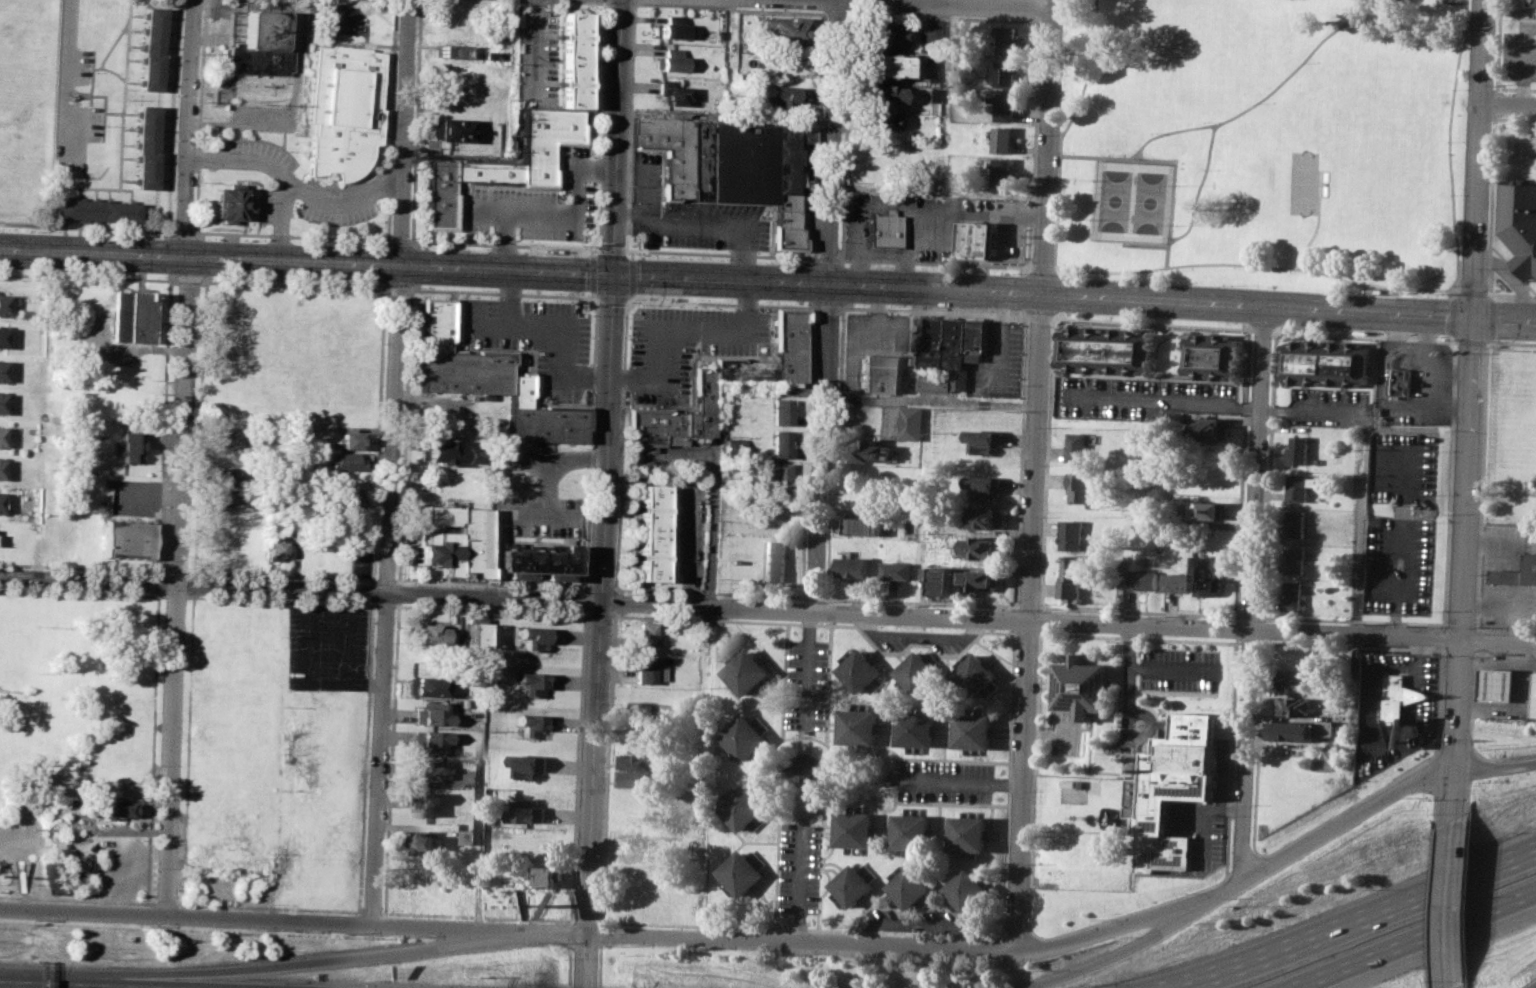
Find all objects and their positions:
road: (945, 0)
road: (608, 1)
road: (634, 1)
road: (975, 1)
road: (607, 2)
road: (621, 2)
road: (1459, 2)
building: (1534, 2)
road: (634, 4)
road: (849, 4)
road: (824, 5)
road: (1040, 8)
road: (1358, 11)
road: (848, 12)
road: (824, 13)
road: (836, 13)
road: (947, 15)
road: (1040, 18)
road: (1471, 25)
building: (672, 27)
building: (928, 30)
building: (785, 31)
road: (632, 33)
building: (885, 36)
building: (1009, 40)
road: (113, 42)
road: (1500, 45)
building: (152, 47)
building: (259, 47)
building: (450, 50)
parking lot: (1521, 52)
parking lot: (537, 57)
building: (671, 60)
road: (1526, 62)
building: (884, 64)
road: (101, 67)
building: (1007, 73)
road: (68, 74)
road: (1514, 88)
building: (671, 91)
building: (883, 94)
building: (932, 94)
building: (781, 95)
road: (1496, 102)
road: (1509, 102)
building: (1007, 106)
building: (343, 110)
parking lot: (74, 111)
road: (200, 115)
road: (172, 117)
road: (1515, 117)
building: (881, 119)
road: (1212, 126)
road: (123, 127)
building: (447, 129)
road: (1062, 131)
building: (523, 132)
building: (1004, 139)
park: (1264, 142)
building: (147, 147)
road: (941, 152)
parking lot: (255, 155)
road: (1480, 159)
building: (729, 165)
building: (1004, 170)
road: (70, 174)
road: (1173, 179)
park: (1307, 182)
road: (291, 188)
road: (643, 191)
road: (994, 192)
road: (602, 202)
park: (1134, 202)
road: (1491, 203)
building: (227, 205)
parking lot: (535, 206)
parking lot: (334, 207)
building: (98, 209)
road: (1454, 211)
parking lot: (687, 214)
road: (387, 217)
road: (278, 222)
road: (1318, 222)
road: (705, 224)
building: (1519, 225)
road: (84, 227)
road: (813, 227)
building: (884, 230)
road: (182, 233)
building: (979, 239)
road: (399, 240)
road: (610, 246)
road: (631, 254)
road: (814, 258)
road: (825, 258)
road: (933, 262)
road: (1042, 267)
road: (592, 268)
road: (1059, 268)
road: (88, 274)
road: (188, 278)
road: (630, 278)
traffic signals: (612, 280)
road: (291, 283)
flagpole: (1504, 283)
road: (737, 285)
road: (394, 288)
road: (1458, 288)
road: (1025, 290)
road: (1452, 291)
road: (1473, 291)
road: (501, 293)
road: (1059, 293)
road: (1511, 294)
road: (1493, 296)
road: (594, 297)
road: (610, 300)
building: (4, 303)
road: (723, 303)
road: (827, 304)
road: (625, 305)
road: (827, 306)
road: (932, 311)
road: (1026, 312)
road: (1056, 314)
road: (1452, 314)
road: (1039, 316)
building: (132, 317)
road: (1492, 317)
road: (1505, 320)
road: (1251, 328)
road: (1262, 329)
building: (915, 333)
road: (1364, 335)
road: (1451, 336)
building: (3, 337)
parking lot: (534, 337)
road: (1492, 339)
parking lot: (869, 341)
road: (1472, 341)
road: (1511, 341)
building: (935, 342)
parking lot: (684, 346)
road: (140, 349)
building: (1108, 350)
building: (960, 354)
building: (1216, 356)
parking lot: (1001, 361)
building: (1331, 362)
building: (3, 370)
road: (1384, 370)
road: (1247, 372)
road: (1454, 372)
building: (881, 373)
building: (485, 380)
building: (1407, 382)
road: (1434, 386)
building: (706, 397)
parking lot: (1144, 397)
building: (2, 401)
road: (933, 401)
road: (1164, 401)
road: (1453, 402)
parking lot: (1331, 406)
road: (1314, 410)
building: (778, 411)
building: (914, 422)
road: (164, 426)
building: (1212, 427)
building: (1, 437)
building: (227, 438)
building: (349, 440)
building: (986, 440)
building: (777, 443)
building: (1079, 445)
building: (131, 446)
building: (734, 448)
building: (1301, 449)
building: (871, 450)
road: (808, 451)
building: (437, 452)
road: (834, 452)
road: (180, 458)
road: (528, 460)
building: (347, 461)
road: (550, 461)
road: (390, 462)
road: (1022, 463)
road: (1047, 464)
building: (0, 467)
parking lot: (1404, 468)
building: (775, 475)
building: (227, 477)
road: (1038, 479)
building: (985, 486)
building: (1083, 486)
building: (1302, 486)
road: (1481, 487)
road: (605, 493)
building: (0, 497)
building: (226, 498)
building: (344, 502)
building: (776, 509)
building: (1209, 510)
road: (536, 514)
road: (195, 516)
parking lot: (535, 516)
building: (989, 517)
building: (1299, 523)
building: (864, 525)
road: (709, 533)
road: (1362, 533)
building: (651, 534)
building: (1074, 534)
road: (586, 537)
road: (615, 538)
building: (129, 539)
building: (452, 539)
road: (1397, 546)
building: (985, 547)
road: (1466, 547)
building: (275, 550)
building: (774, 559)
building: (1297, 559)
building: (536, 560)
parking lot: (1401, 564)
road: (82, 566)
building: (855, 566)
road: (175, 570)
building: (898, 570)
road: (1412, 570)
road: (190, 571)
building: (1517, 572)
building: (1209, 575)
building: (1073, 577)
road: (384, 579)
building: (941, 579)
building: (985, 579)
building: (1146, 579)
road: (159, 582)
building: (1178, 582)
road: (598, 587)
road: (584, 588)
road: (613, 588)
street lamp: (55, 589)
road: (616, 590)
road: (83, 592)
street lamp: (152, 592)
road: (408, 594)
building: (1295, 594)
road: (175, 595)
street lamp: (238, 596)
road: (815, 596)
road: (1254, 596)
road: (279, 599)
street lamp: (339, 600)
road: (584, 600)
road: (921, 600)
road: (614, 602)
road: (382, 604)
street lamp: (424, 604)
road: (1028, 605)
road: (488, 608)
road: (1140, 610)
road: (597, 614)
road: (1015, 619)
road: (1042, 621)
road: (828, 623)
road: (1140, 624)
road: (1241, 628)
road: (1014, 630)
road: (1027, 632)
road: (1041, 632)
building: (429, 633)
building: (474, 636)
building: (644, 636)
building: (535, 637)
road: (1139, 637)
road: (1476, 640)
street lamp: (391, 641)
road: (1499, 641)
parking lot: (328, 647)
building: (1297, 657)
building: (663, 660)
street lamp: (162, 662)
road: (315, 666)
road: (810, 667)
building: (642, 669)
road: (1171, 669)
building: (862, 670)
building: (750, 671)
building: (920, 671)
building: (976, 675)
building: (1295, 680)
road: (786, 682)
building: (533, 683)
parking lot: (809, 684)
road: (830, 684)
building: (1502, 684)
gas station: (1502, 684)
building: (423, 686)
building: (1082, 686)
building: (1399, 697)
road: (1473, 701)
building: (1296, 706)
parking lot: (1395, 707)
building: (637, 709)
road: (1126, 710)
building: (1535, 711)
building: (429, 713)
building: (531, 724)
building: (861, 726)
building: (1329, 727)
building: (918, 728)
building: (976, 730)
building: (1294, 730)
building: (747, 737)
building: (428, 739)
street lamp: (386, 748)
building: (640, 760)
road: (766, 762)
street lamp: (158, 764)
road: (482, 764)
building: (530, 764)
road: (1474, 765)
road: (576, 766)
road: (607, 768)
road: (1496, 768)
building: (423, 769)
building: (1181, 772)
road: (703, 773)
building: (640, 778)
parking lot: (946, 780)
road: (964, 784)
road: (1472, 795)
road: (1457, 798)
building: (426, 802)
building: (745, 806)
building: (114, 807)
building: (528, 810)
road: (149, 818)
building: (856, 829)
building: (914, 830)
street lamp: (383, 832)
building: (971, 833)
building: (469, 835)
building: (419, 842)
building: (641, 844)
street lamp: (155, 866)
parking lot: (801, 866)
road: (779, 869)
building: (743, 872)
building: (548, 876)
road: (802, 882)
building: (854, 884)
building: (912, 886)
building: (969, 888)
road: (1468, 896)
road: (1452, 904)
street lamp: (381, 909)
road: (1004, 912)
street lamp: (42, 920)
road: (1100, 921)
road: (1351, 922)
street lamp: (146, 925)
road: (689, 925)
street lamp: (247, 929)
road: (570, 934)
road: (602, 934)
street lamp: (413, 936)
road: (1412, 937)
road: (749, 943)
road: (1104, 958)
road: (287, 963)
road: (599, 965)
road: (569, 966)
road: (1465, 984)
road: (1534, 986)

